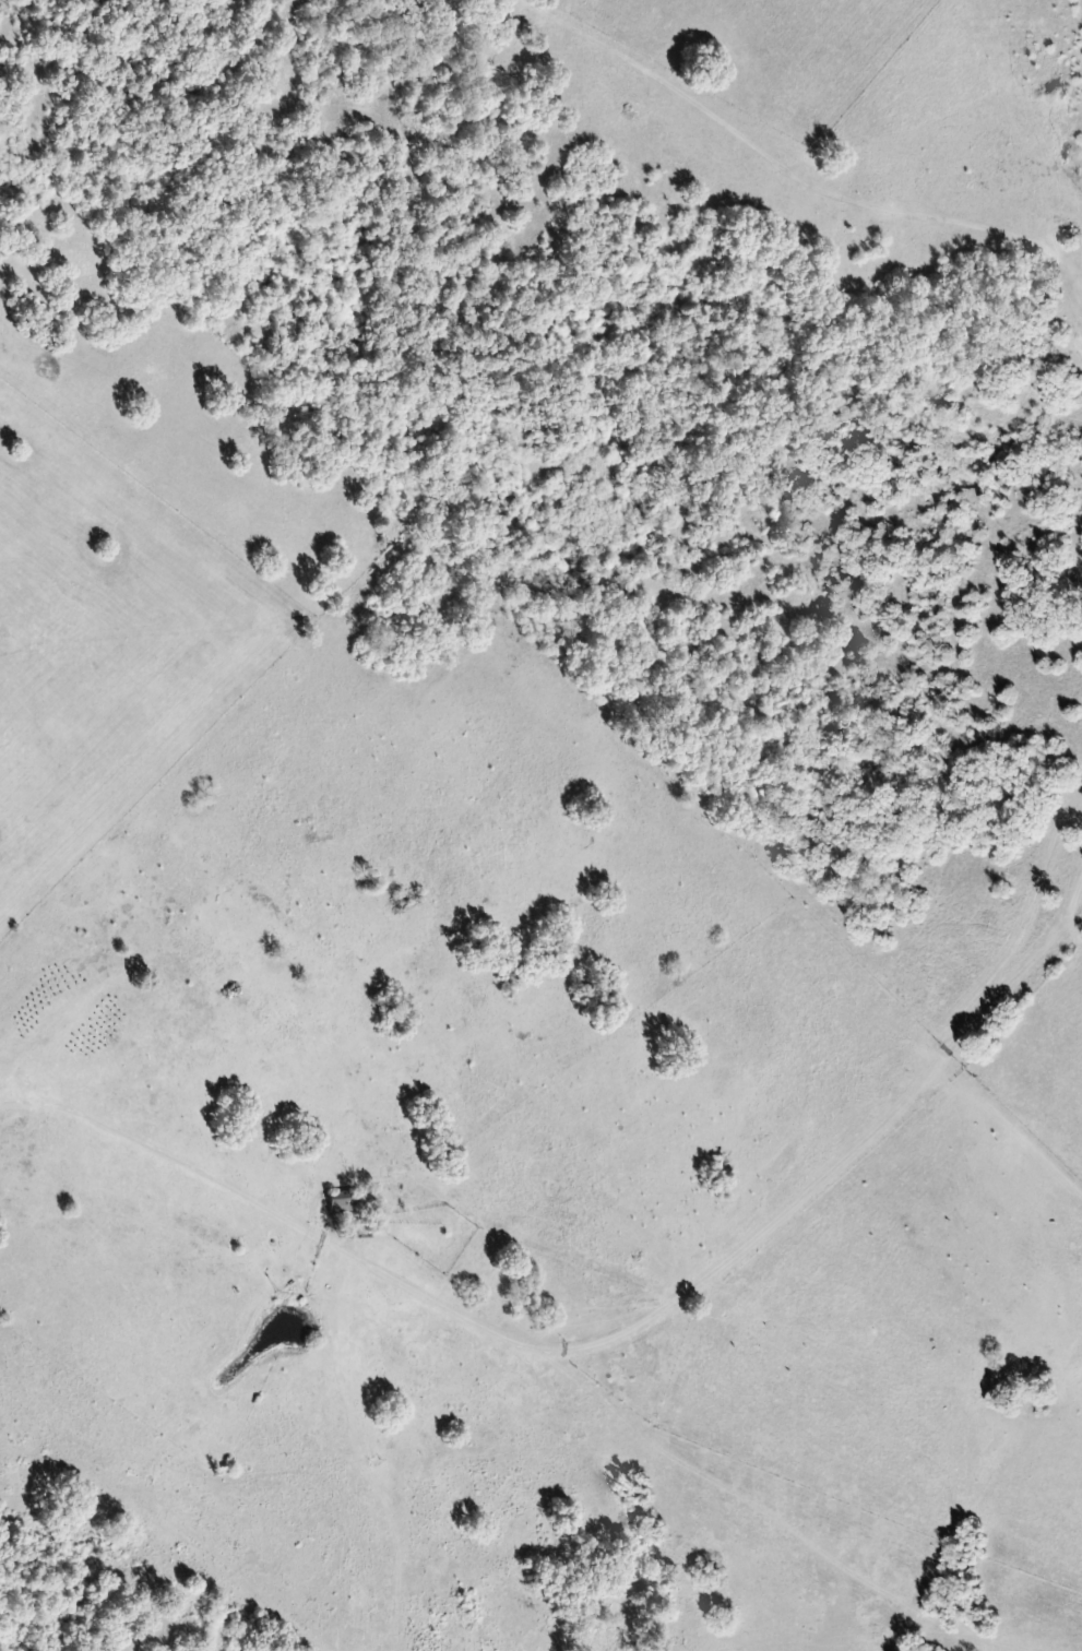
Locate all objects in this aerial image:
building: (340, 1200)

